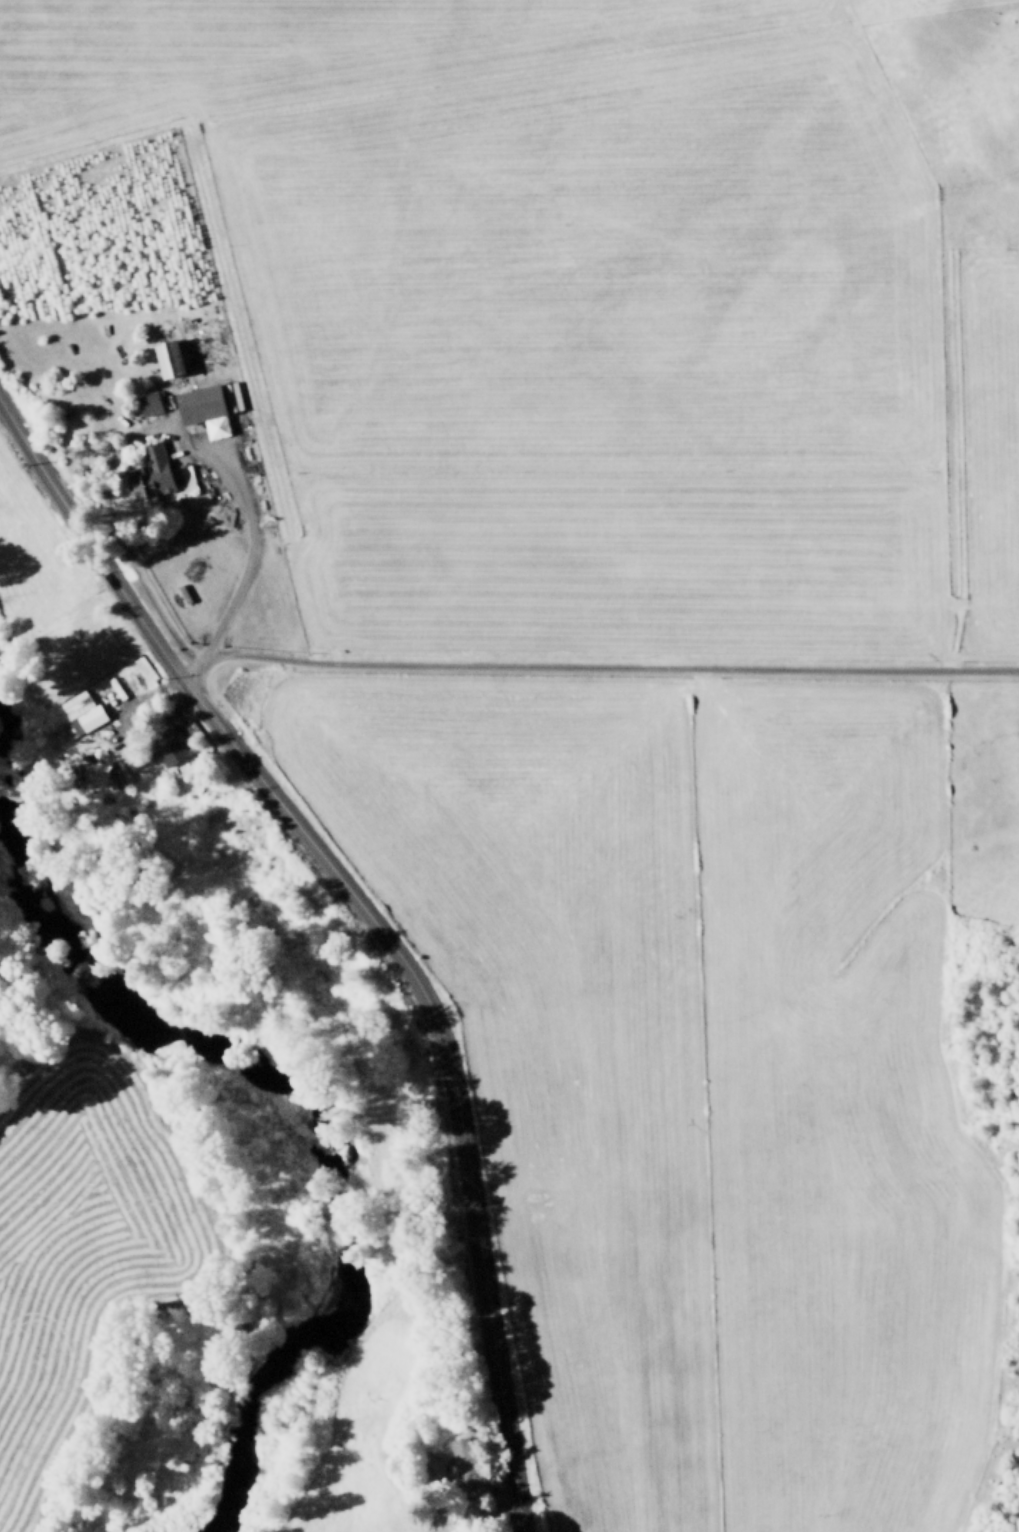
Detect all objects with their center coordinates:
building: (164, 359)
building: (148, 404)
building: (201, 410)
building: (147, 474)
road: (235, 535)
crop: (597, 662)
road: (596, 666)
building: (74, 706)
building: (87, 720)
building: (175, 746)
road: (371, 920)
river: (296, 1112)
crop: (67, 1247)
building: (460, 1455)

